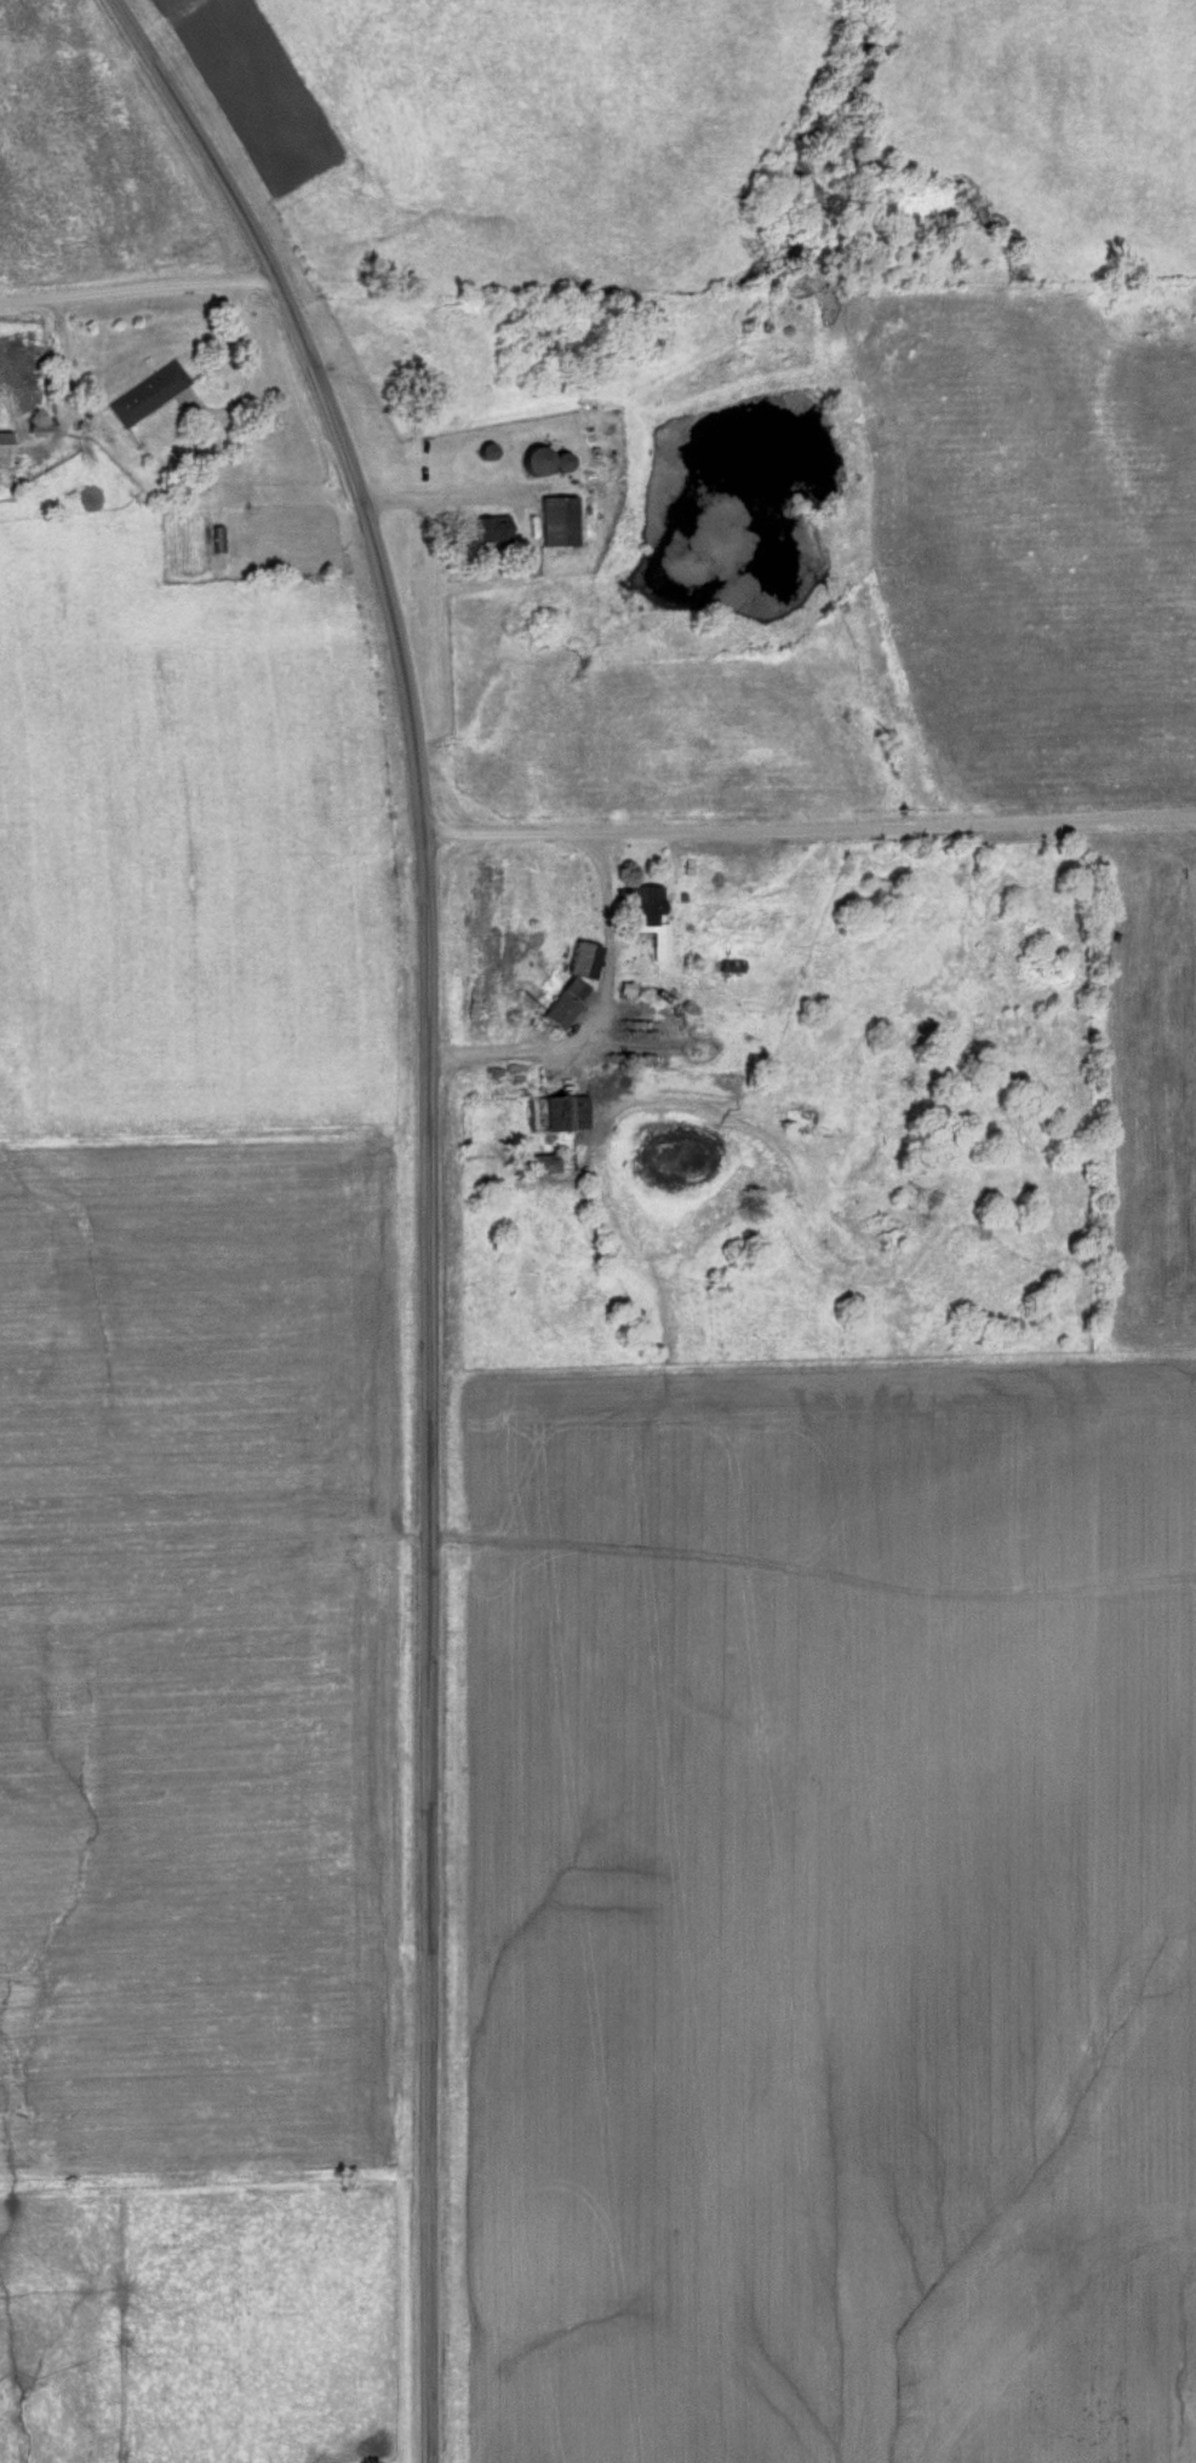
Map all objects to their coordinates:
road: (137, 286)
road: (250, 362)
building: (147, 394)
building: (4, 451)
building: (485, 452)
building: (534, 462)
building: (556, 522)
building: (488, 529)
road: (811, 826)
building: (642, 910)
building: (729, 966)
building: (556, 1010)
building: (554, 1115)
building: (550, 1163)
road: (429, 1197)

